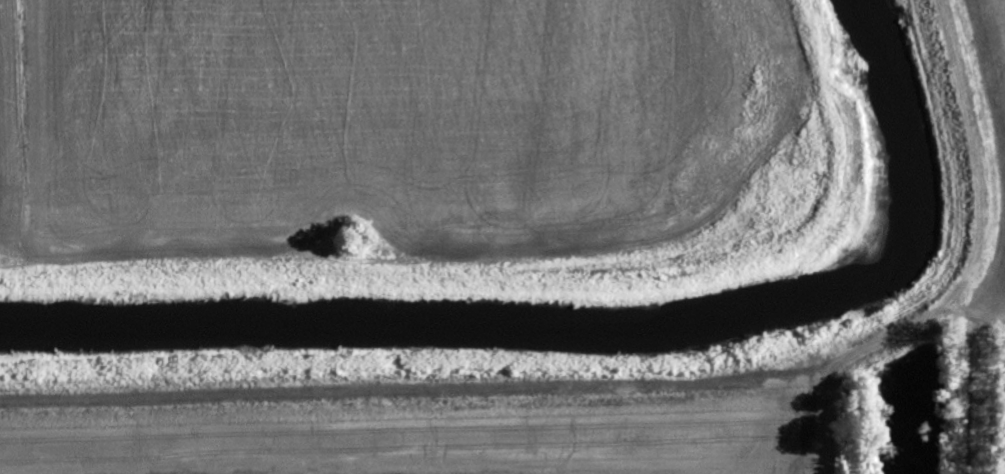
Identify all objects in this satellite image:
road: (516, 263)
river: (589, 330)

